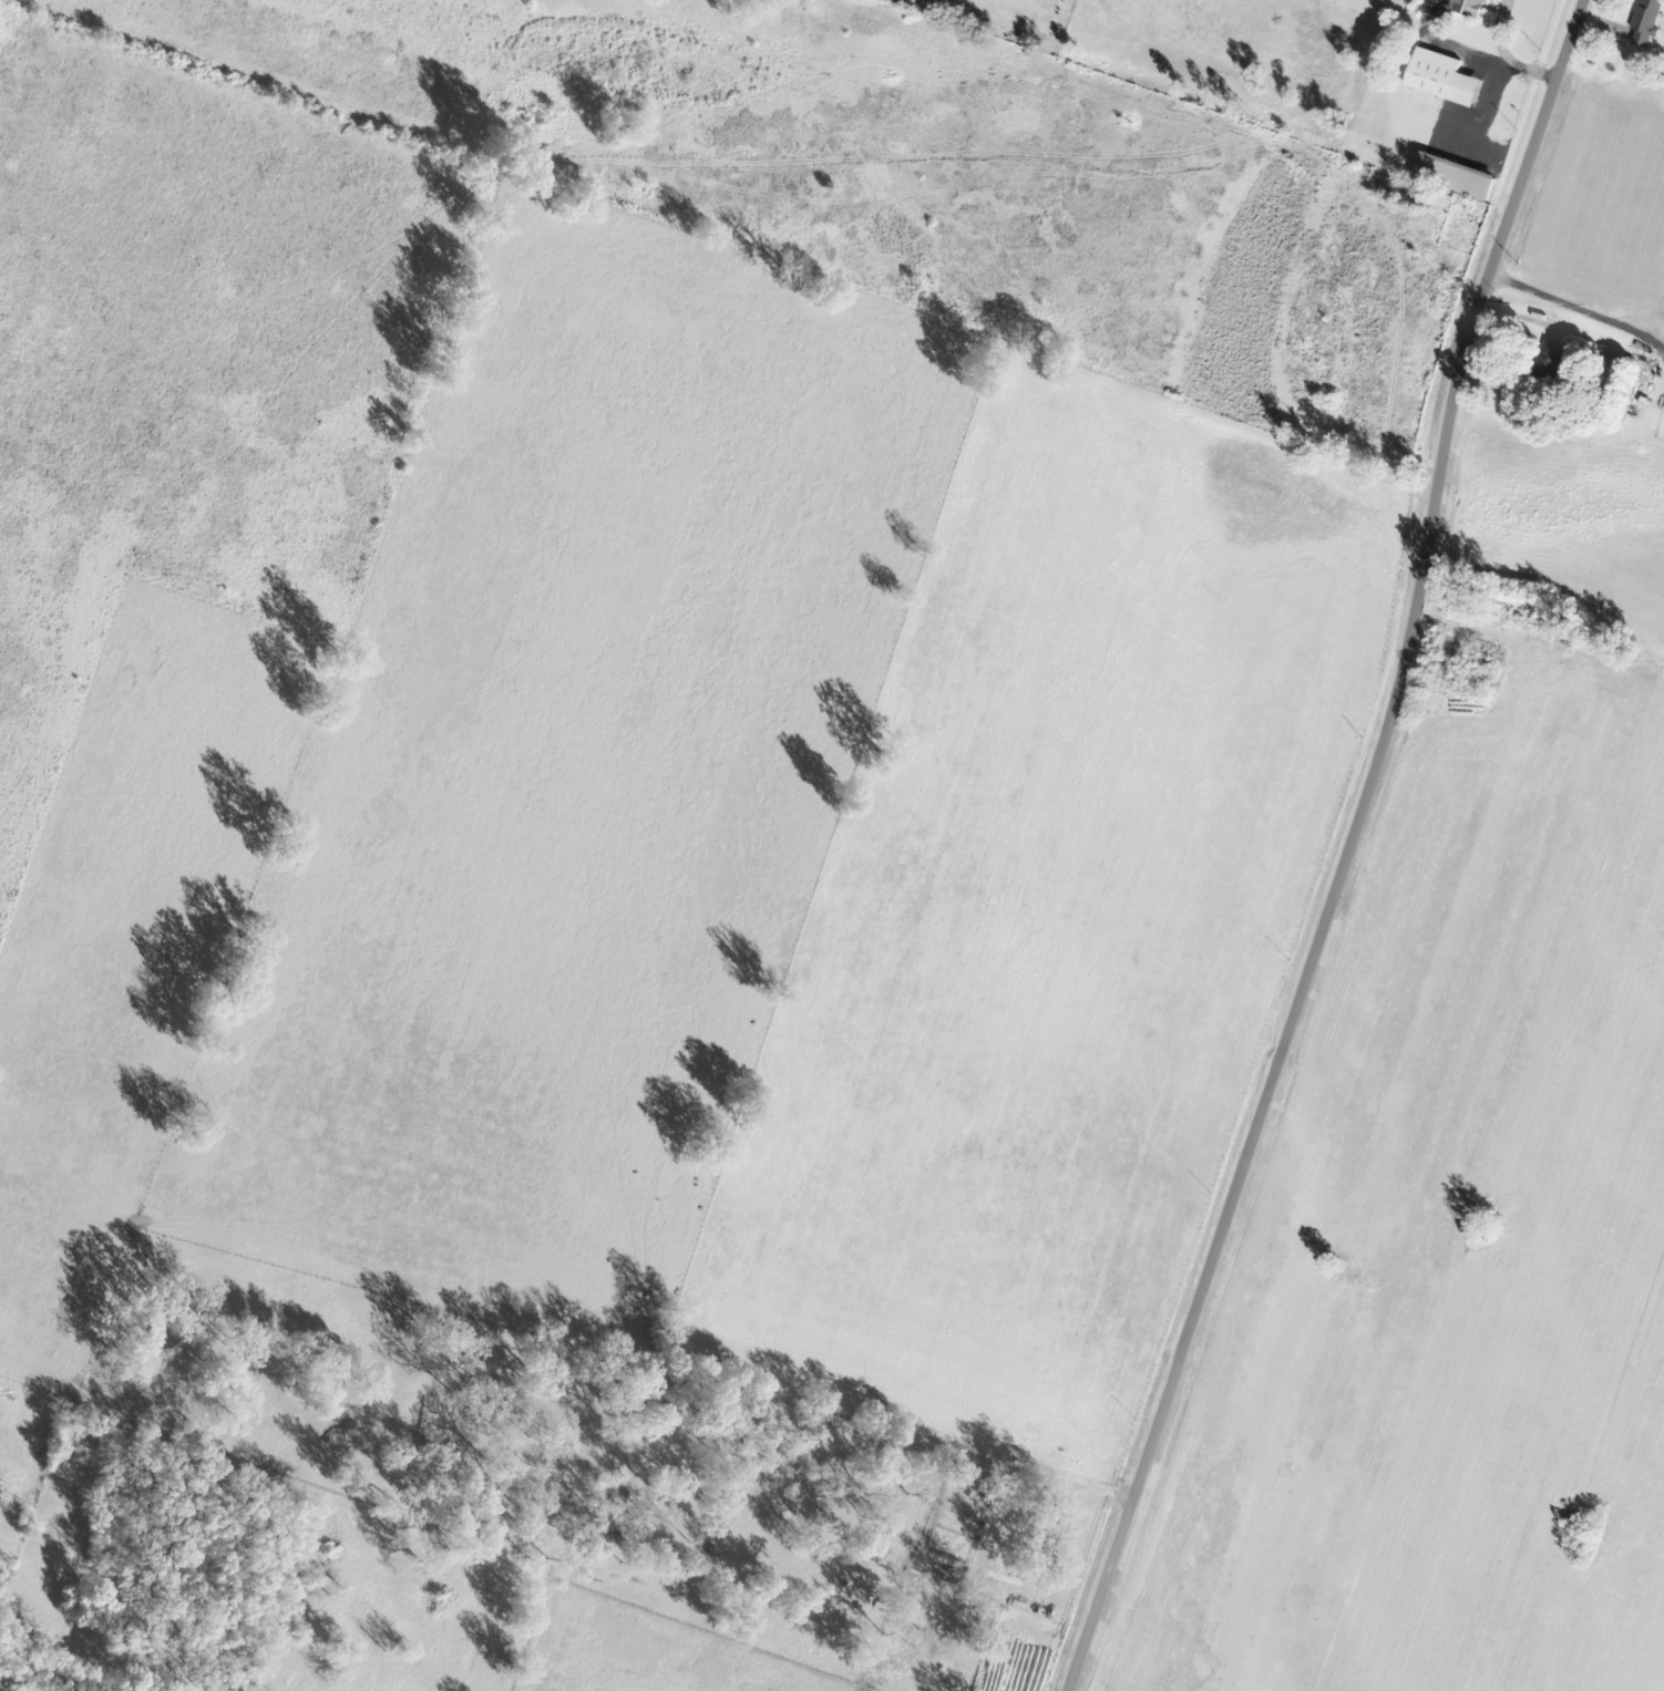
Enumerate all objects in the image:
building: (1468, 6)
road: (1600, 21)
building: (1644, 21)
road: (1517, 61)
building: (1444, 75)
building: (1457, 174)
road: (1563, 311)
building: (1550, 363)
road: (1345, 849)

